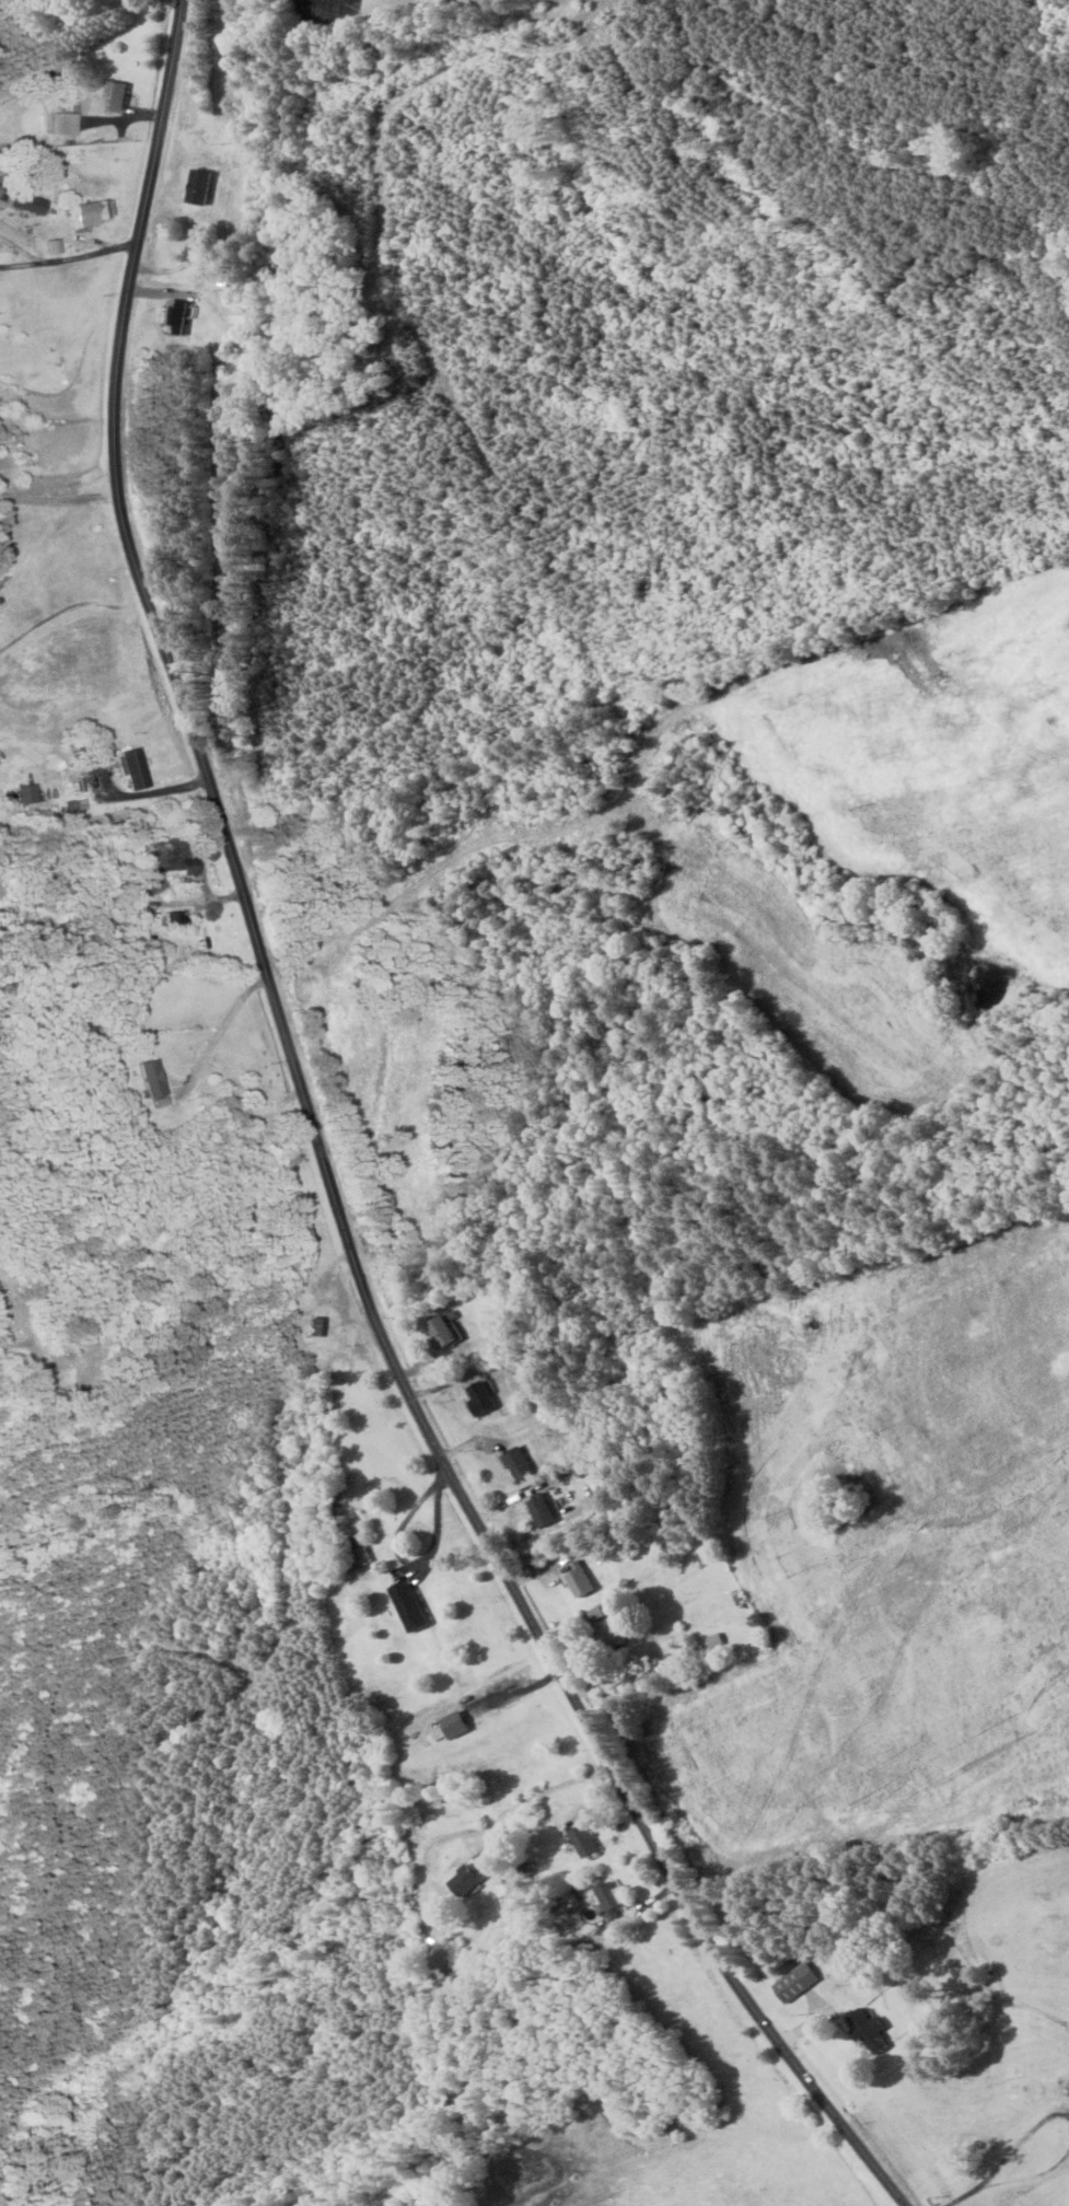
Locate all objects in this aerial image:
building: (120, 95)
building: (67, 121)
building: (201, 185)
building: (32, 202)
building: (98, 211)
building: (184, 310)
building: (139, 768)
building: (33, 793)
building: (291, 856)
building: (183, 864)
building: (183, 918)
building: (163, 1078)
road: (327, 1160)
building: (323, 1326)
building: (445, 1332)
building: (487, 1397)
building: (525, 1464)
building: (548, 1511)
building: (584, 1580)
building: (416, 1606)
building: (618, 1633)
building: (458, 1725)
building: (584, 1839)
building: (464, 1880)
building: (613, 1899)
building: (799, 1982)
building: (444, 1984)
building: (872, 2030)
road: (1021, 2147)
road: (1033, 2185)
road: (968, 2201)

